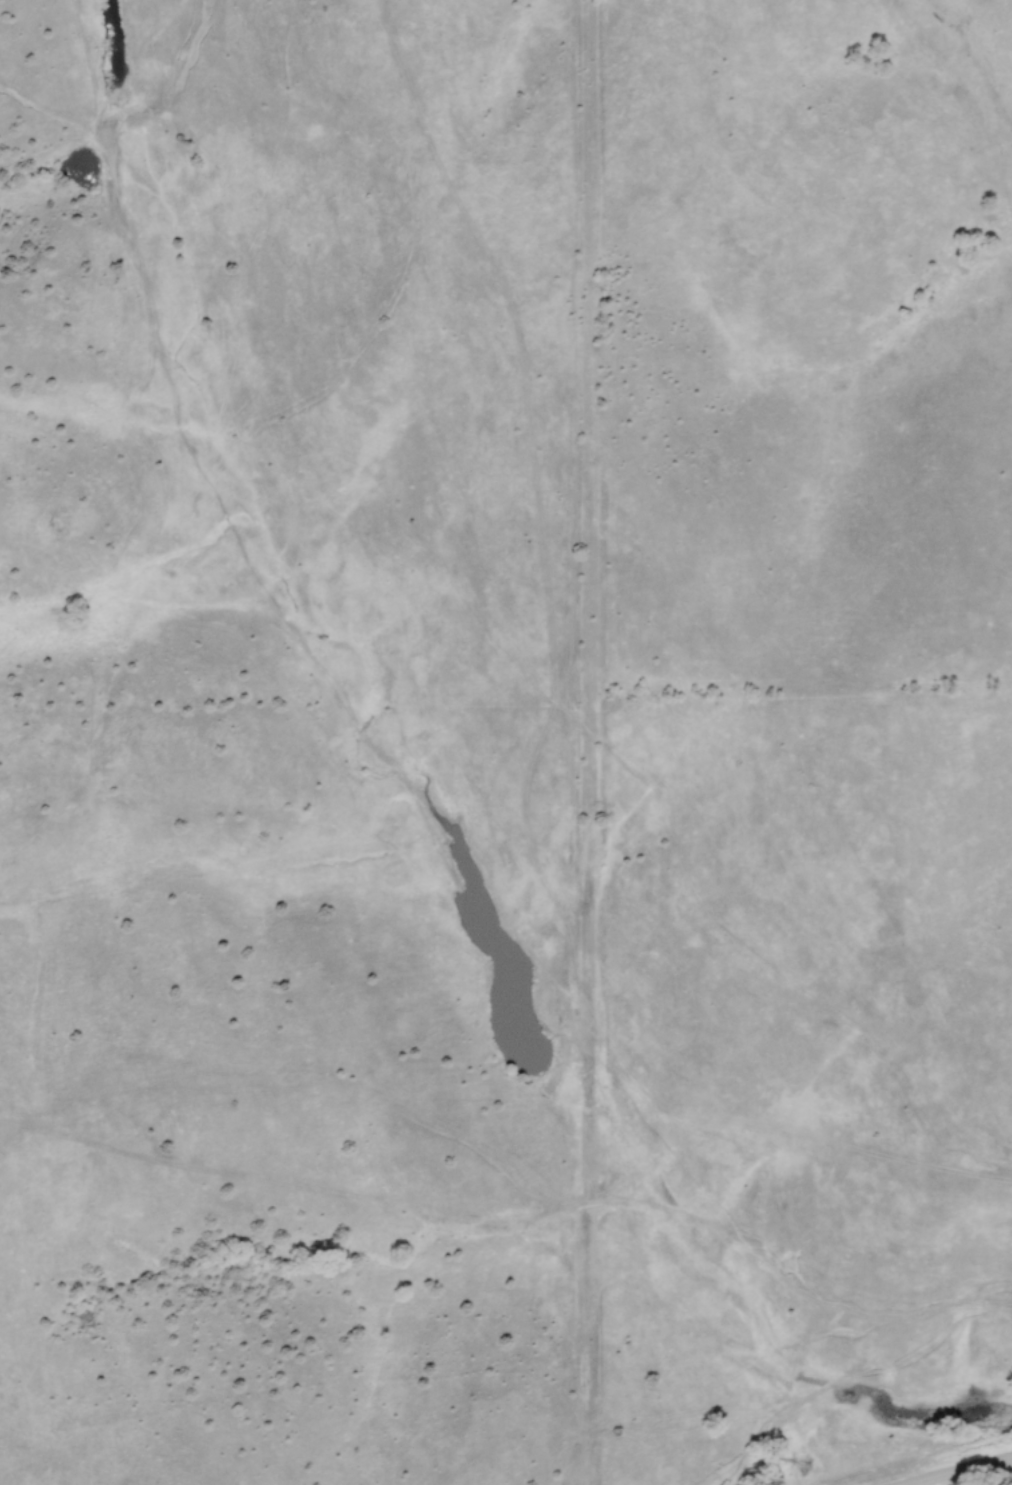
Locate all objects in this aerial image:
road: (954, 1469)

